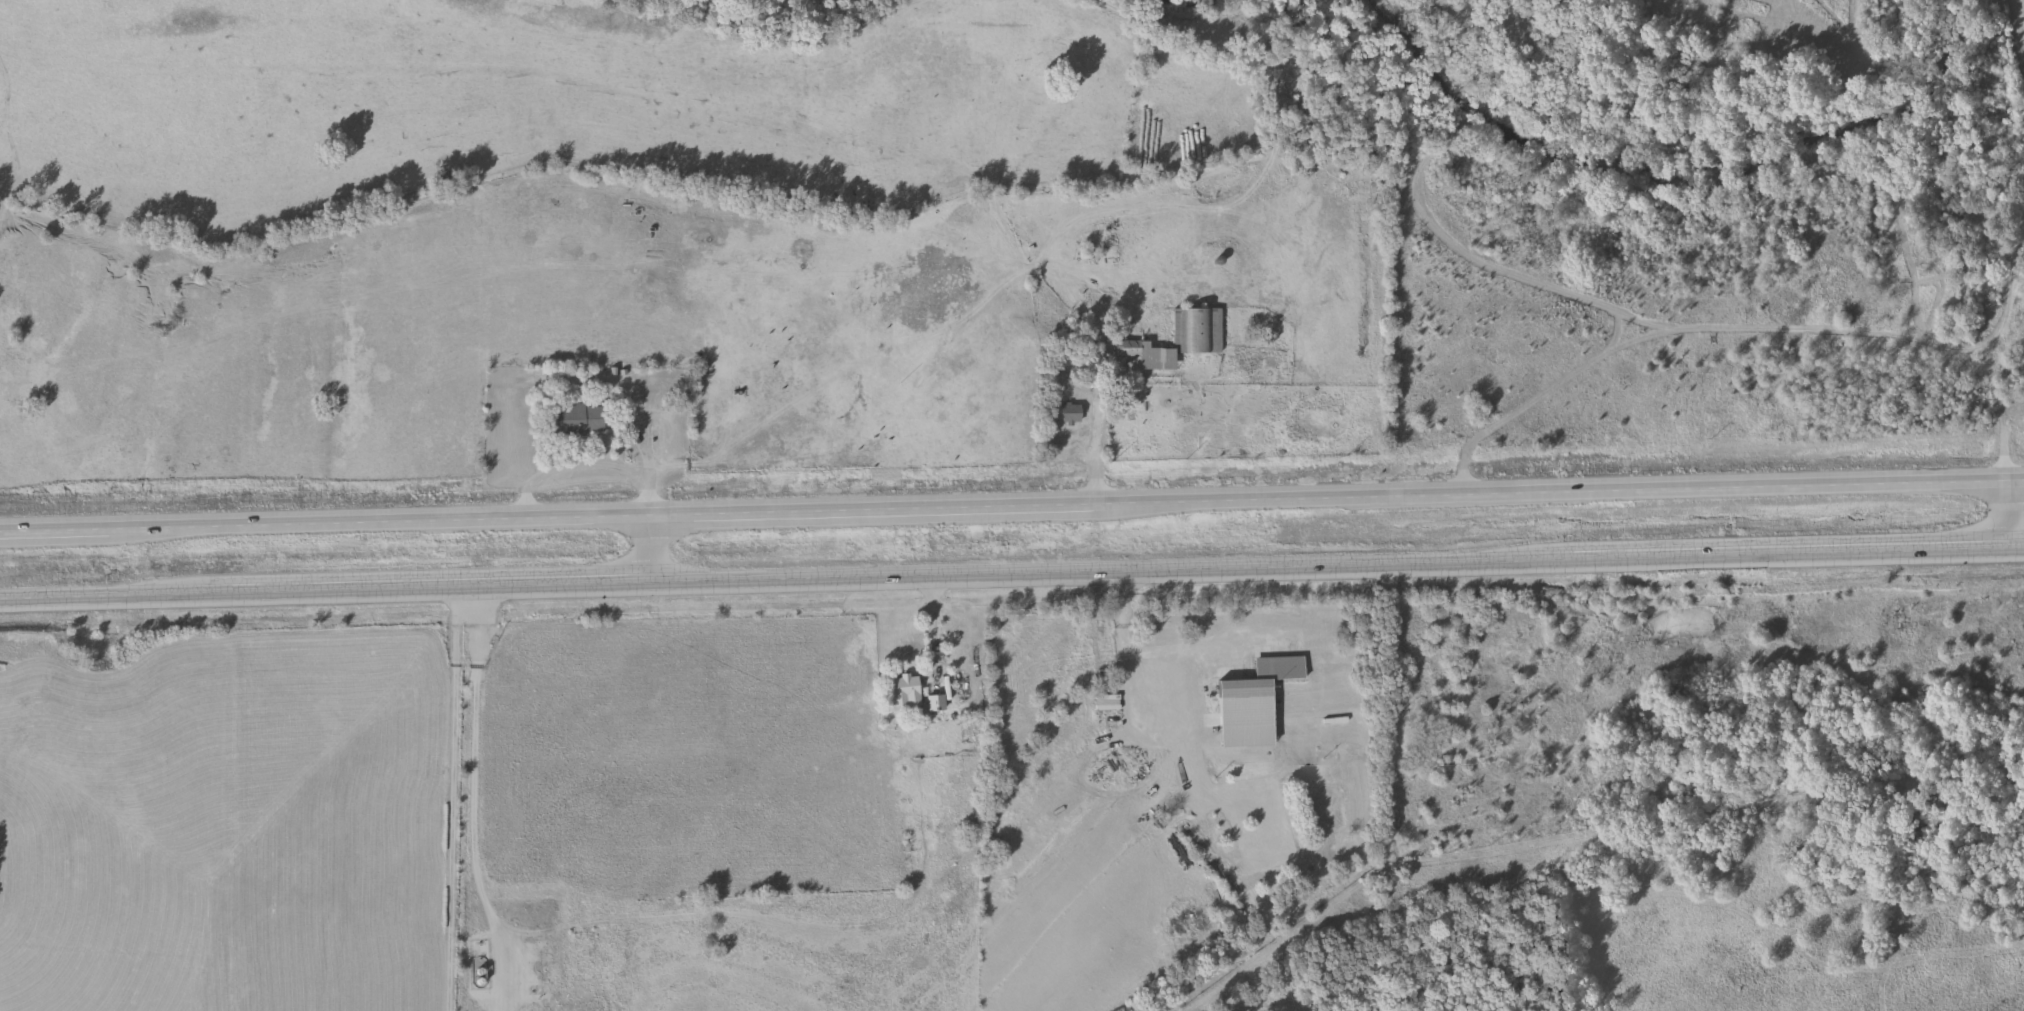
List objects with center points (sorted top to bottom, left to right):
road: (1745, 328)
building: (1177, 340)
building: (1070, 414)
building: (580, 420)
road: (587, 465)
road: (1012, 507)
road: (2004, 514)
road: (647, 548)
road: (1011, 573)
building: (1264, 678)
building: (905, 692)
road: (1150, 736)
road: (470, 790)
building: (1325, 807)

